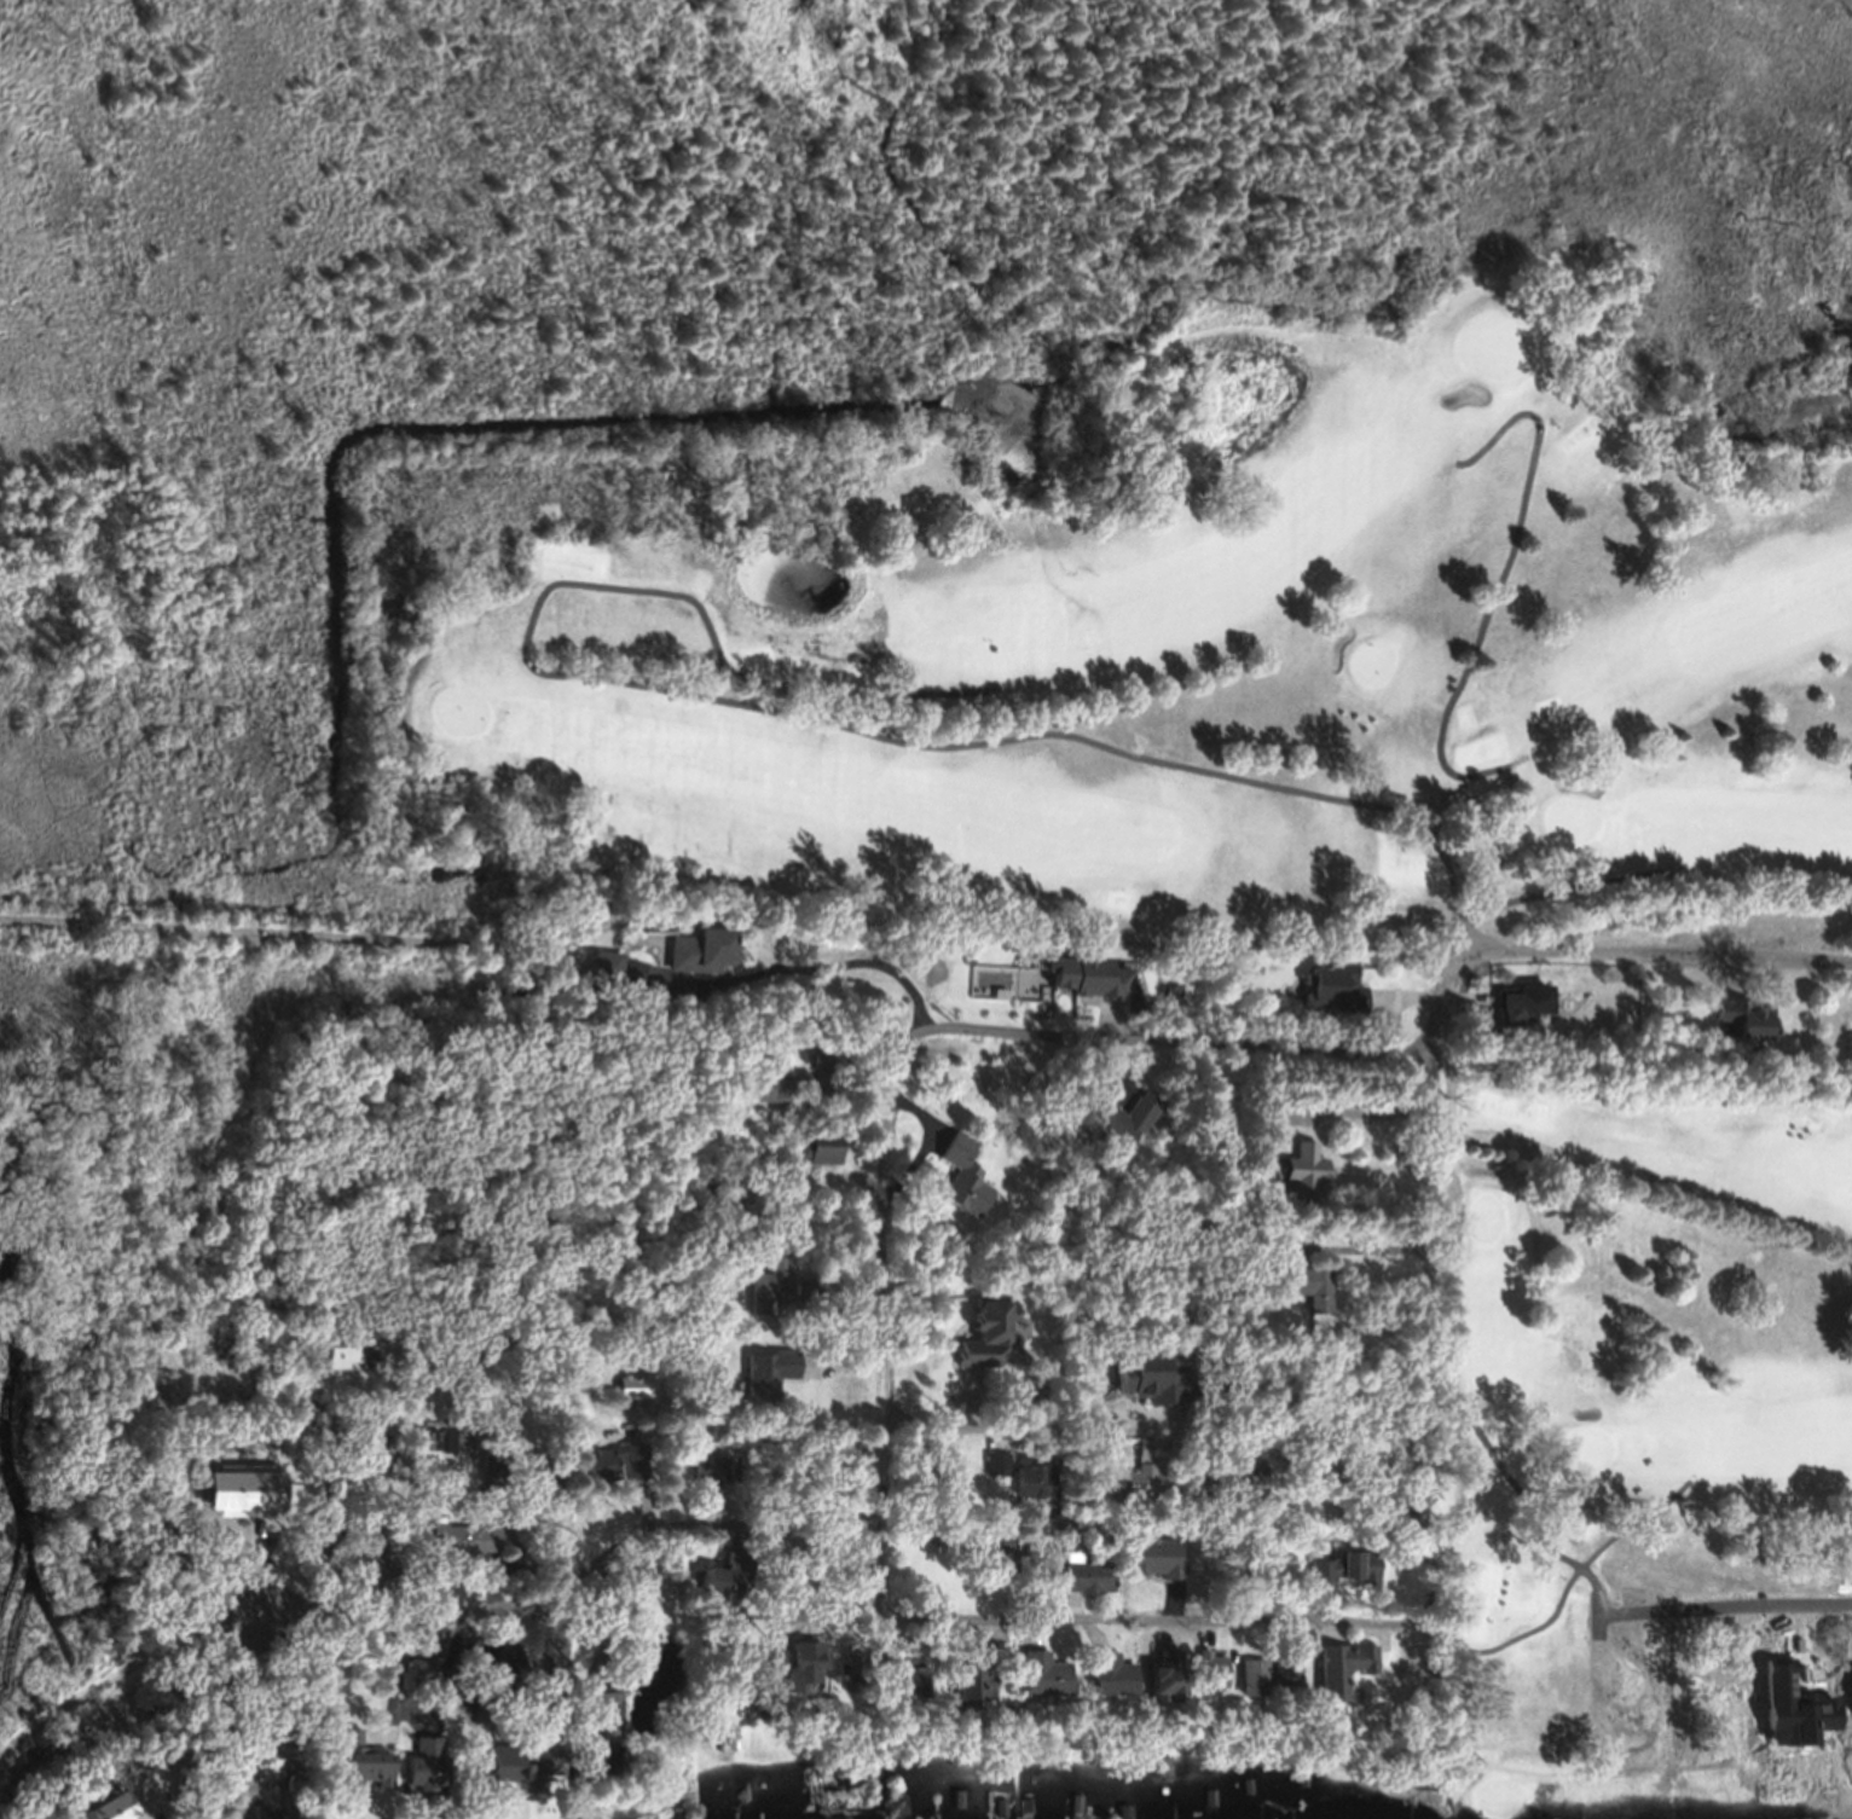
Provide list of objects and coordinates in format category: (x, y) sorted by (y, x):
road: (798, 958)
building: (702, 960)
building: (1084, 983)
building: (1333, 996)
building: (1523, 1013)
building: (1750, 1031)
road: (1115, 1042)
road: (1366, 1123)
building: (1109, 1125)
building: (822, 1158)
building: (1302, 1174)
building: (967, 1186)
road: (1358, 1249)
building: (1307, 1294)
road: (1428, 1326)
building: (985, 1340)
building: (775, 1379)
building: (1134, 1383)
road: (1148, 1433)
park: (1640, 1446)
building: (610, 1472)
building: (1029, 1489)
building: (1134, 1491)
building: (534, 1499)
road: (332, 1539)
building: (464, 1548)
building: (1144, 1565)
building: (1333, 1575)
building: (1029, 1582)
building: (1084, 1585)
building: (722, 1594)
road: (1723, 1601)
road: (428, 1621)
road: (1161, 1622)
building: (1204, 1676)
building: (1337, 1676)
building: (1278, 1678)
building: (1104, 1682)
building: (1036, 1684)
building: (1156, 1684)
building: (901, 1685)
building: (1244, 1685)
building: (971, 1690)
building: (604, 1714)
building: (367, 1774)

